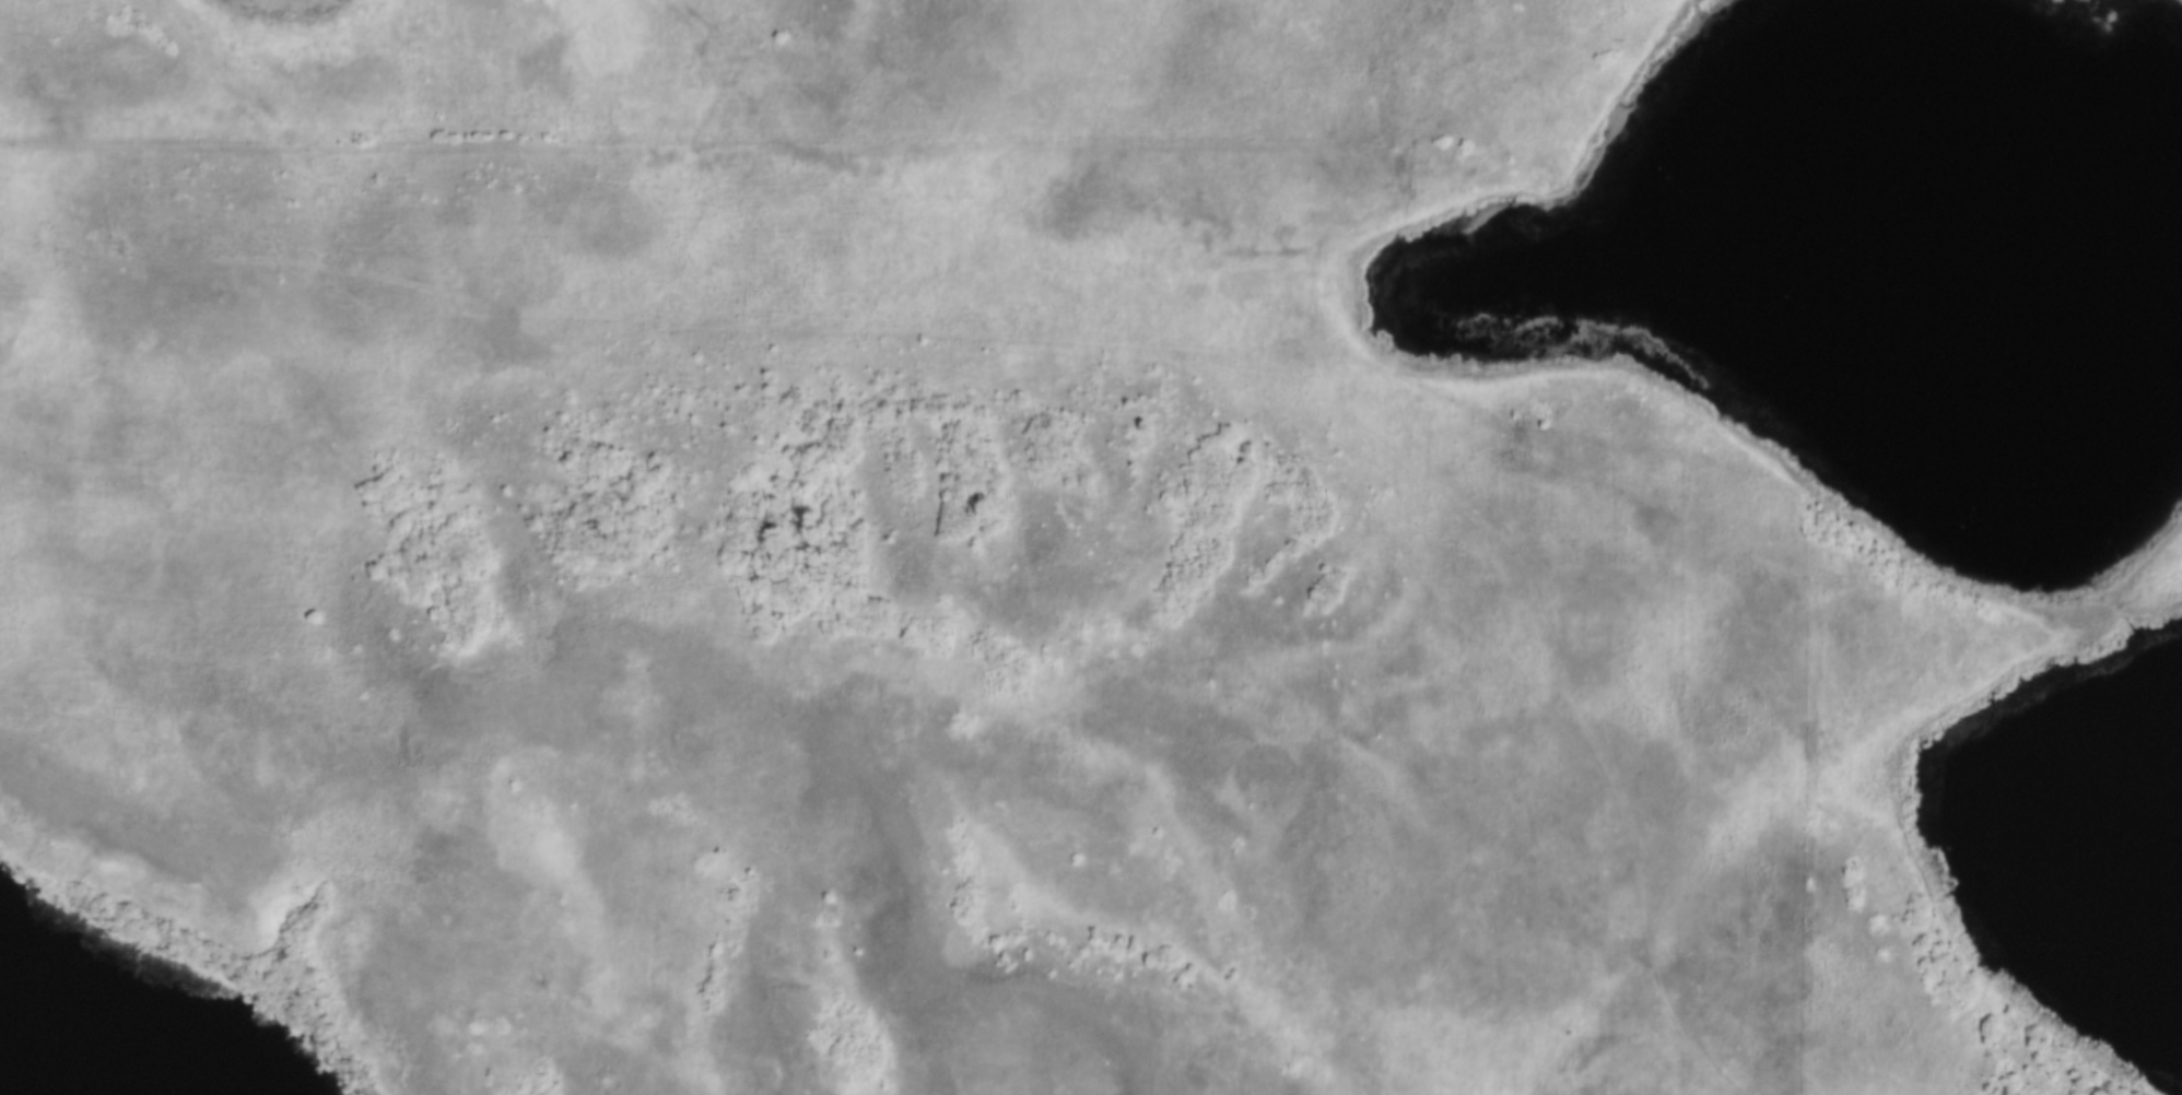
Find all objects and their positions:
road: (1817, 922)

